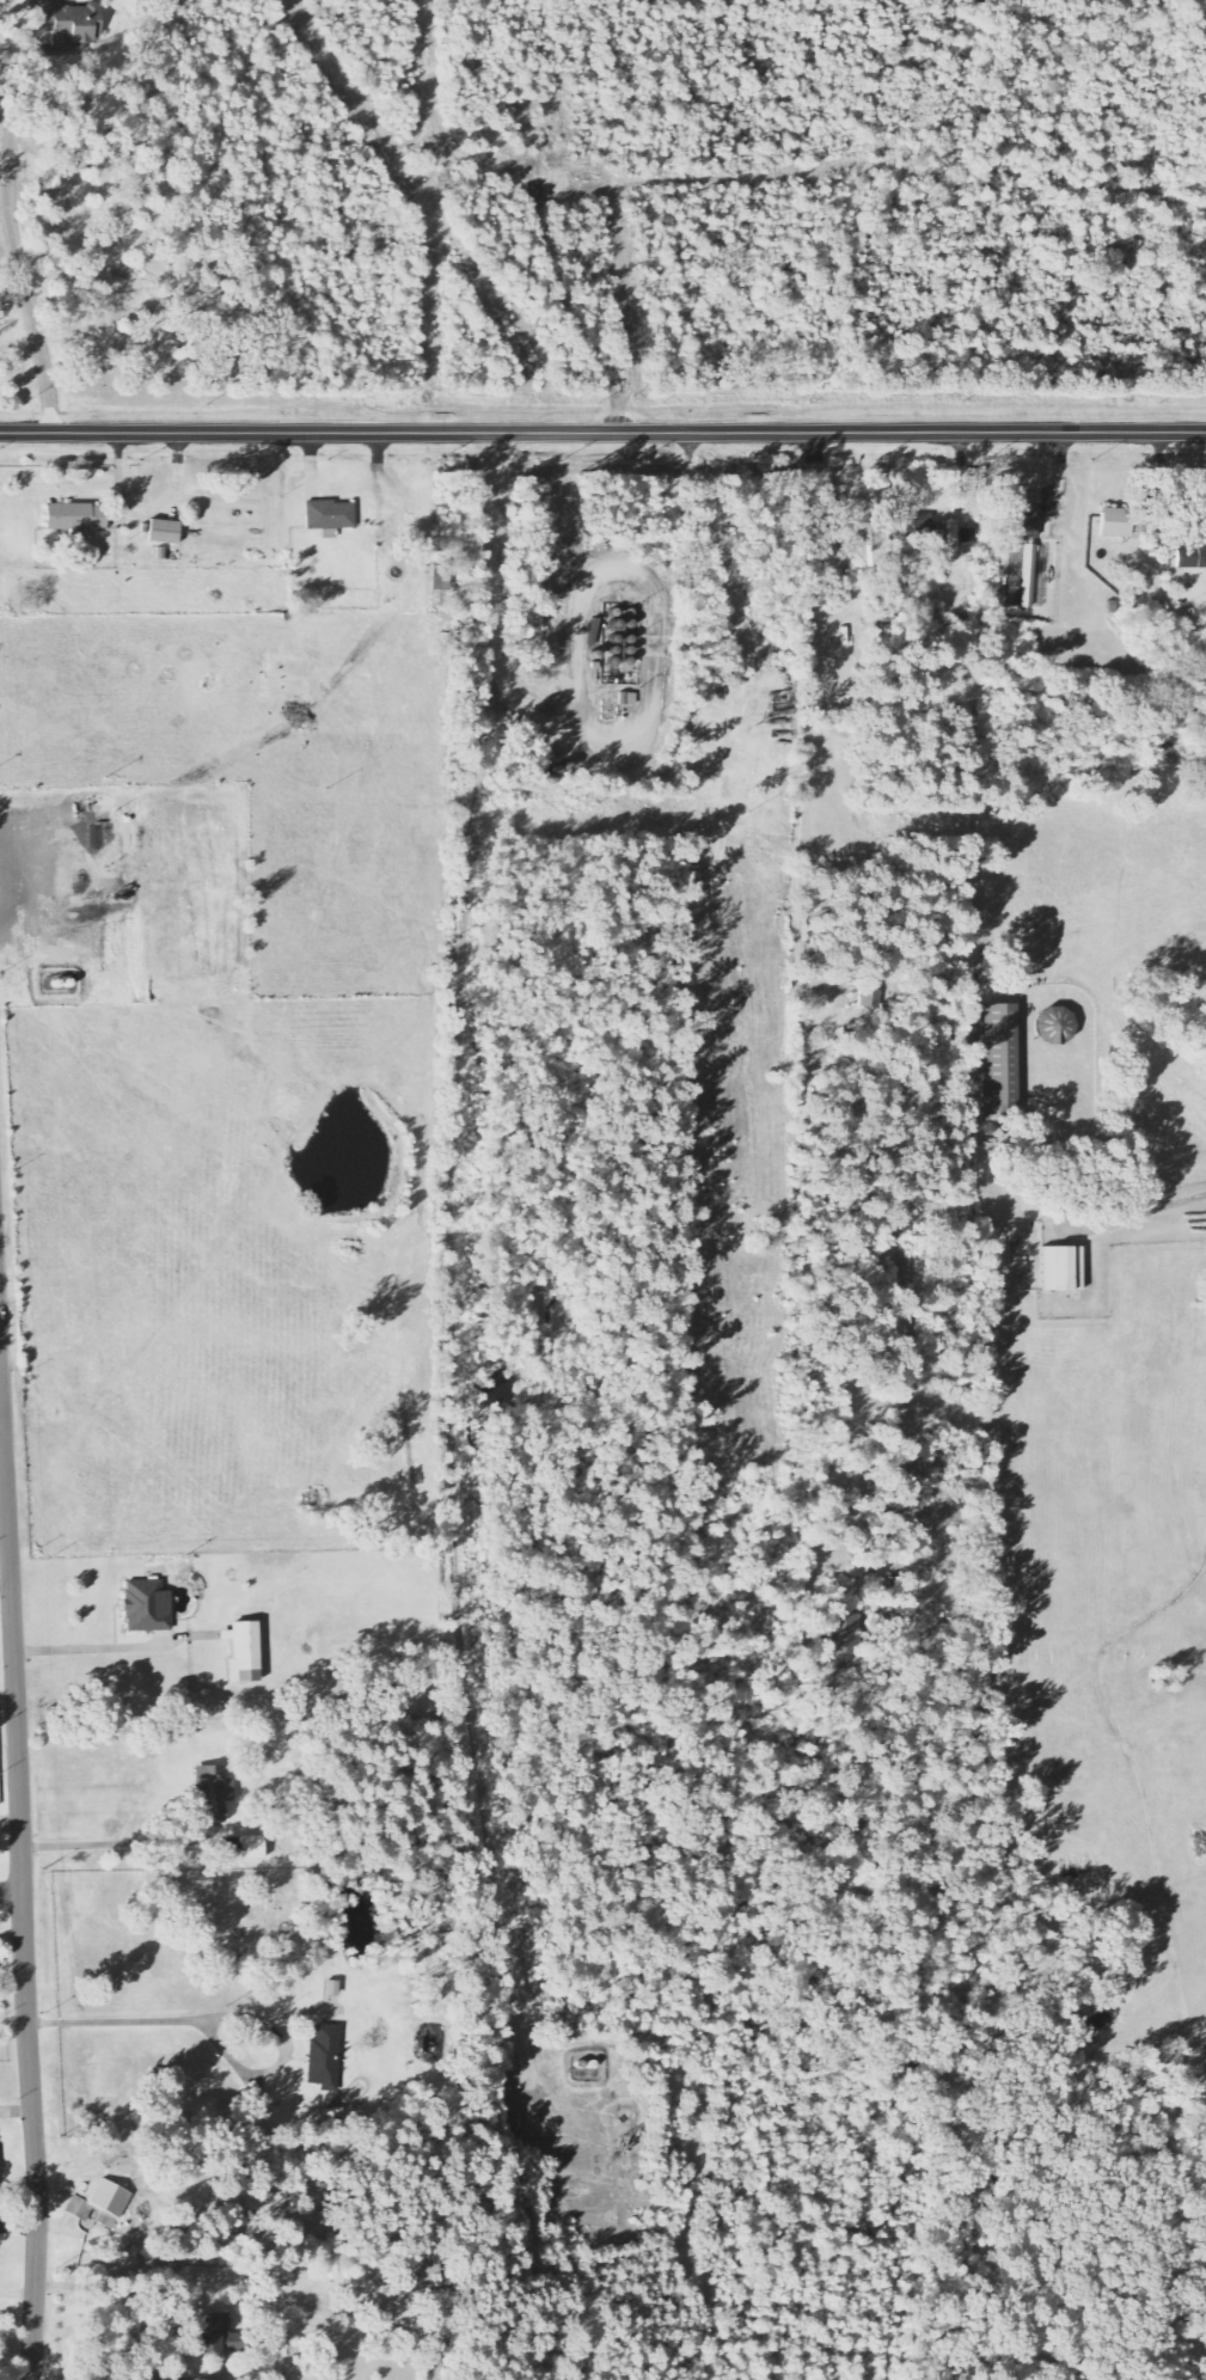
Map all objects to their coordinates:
building: (73, 25)
road: (10, 216)
road: (602, 433)
building: (1024, 516)
building: (331, 518)
building: (78, 519)
building: (1118, 524)
building: (165, 532)
building: (864, 534)
building: (936, 537)
building: (827, 550)
building: (1193, 557)
building: (1029, 576)
building: (873, 991)
building: (1058, 1027)
building: (1000, 1061)
building: (1063, 1271)
building: (148, 1607)
building: (846, 1641)
building: (247, 1652)
building: (214, 1794)
building: (253, 1848)
road: (22, 1885)
road: (11, 1893)
building: (325, 2057)
building: (110, 2199)
building: (441, 2321)
building: (215, 2336)

